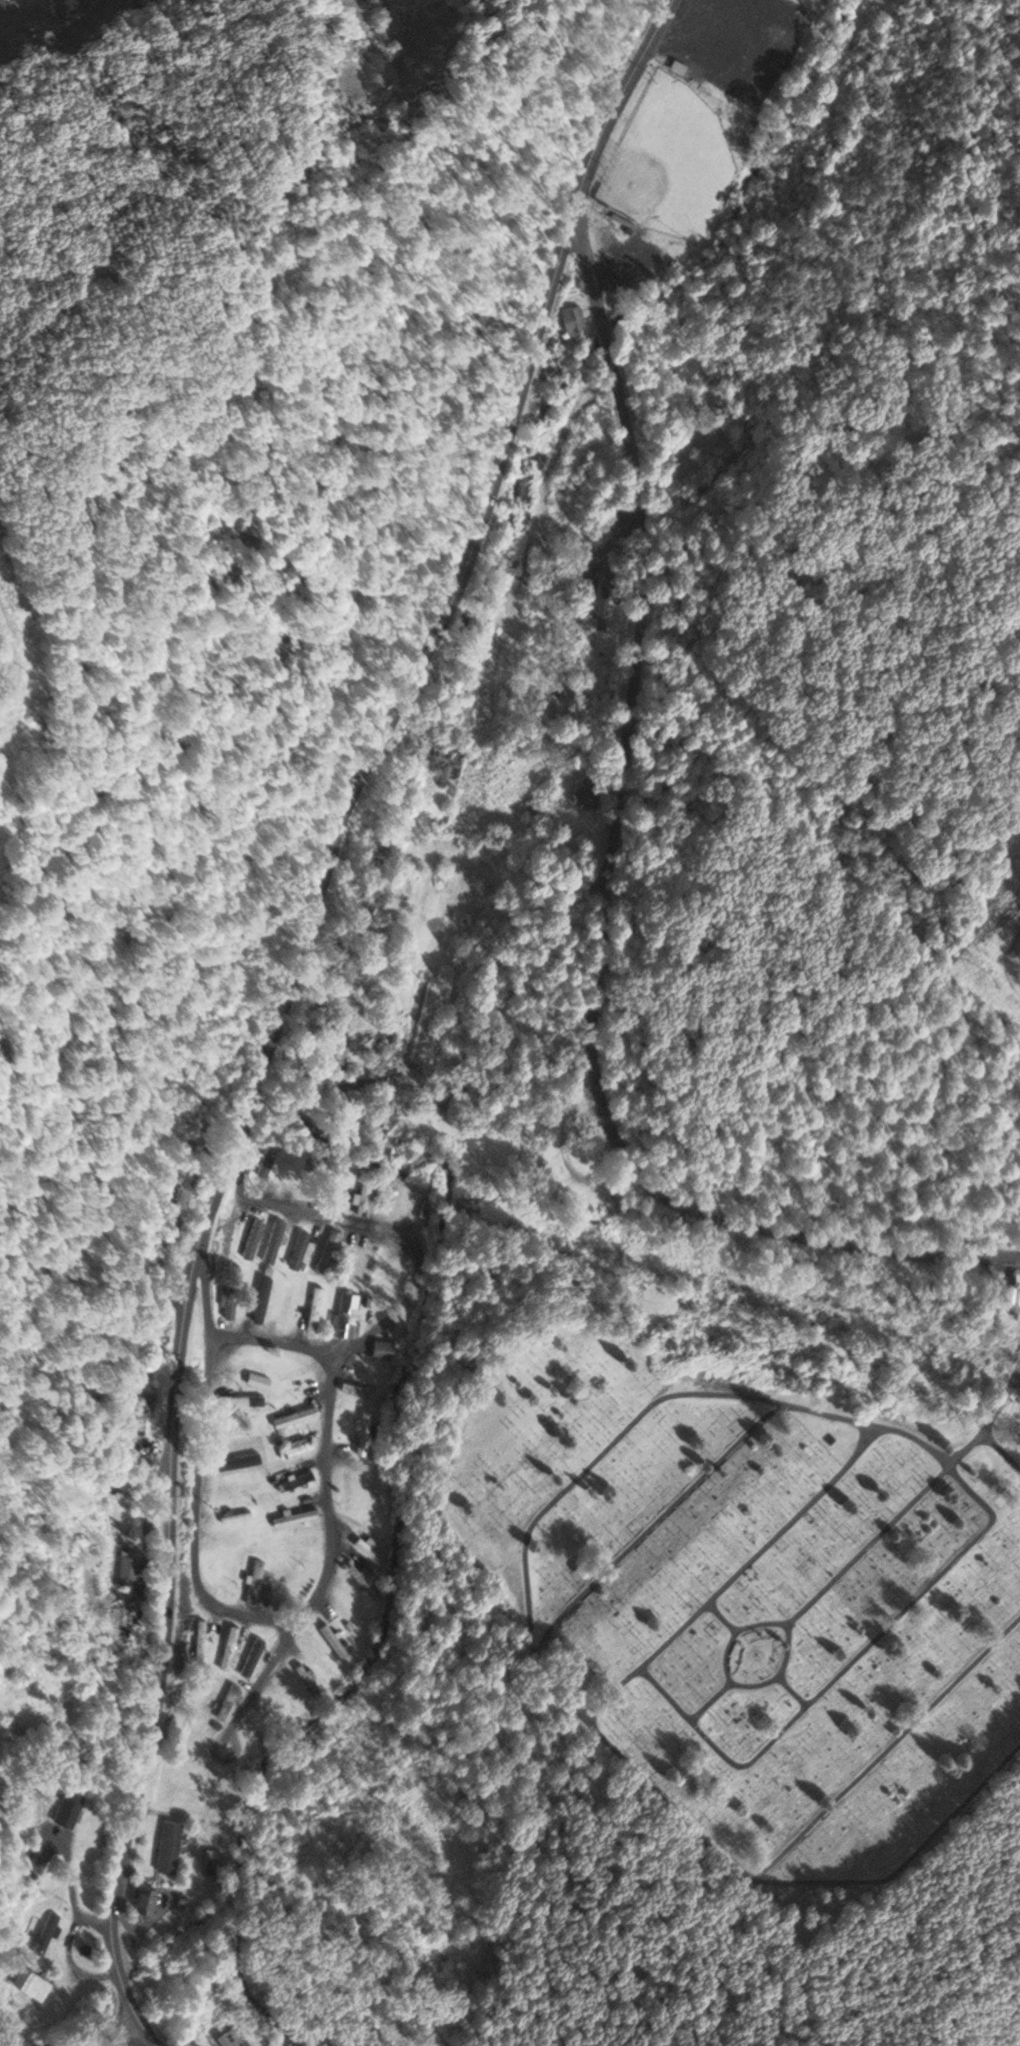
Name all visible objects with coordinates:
building: (675, 65)
park: (671, 164)
park: (766, 213)
road: (586, 267)
building: (571, 317)
road: (603, 331)
road: (597, 959)
road: (283, 1001)
road: (368, 1225)
road: (204, 1292)
road: (301, 1348)
road: (1014, 1375)
road: (1001, 1451)
road: (656, 1526)
road: (732, 1578)
road: (832, 1582)
park: (749, 1590)
road: (722, 1619)
road: (535, 1666)
road: (842, 1672)
road: (793, 1692)
road: (885, 1749)
road: (117, 2032)
road: (143, 2038)

